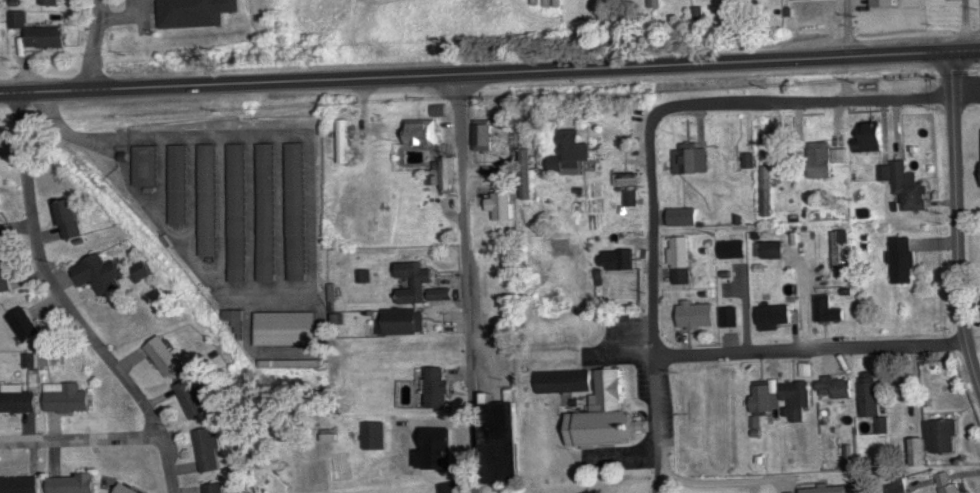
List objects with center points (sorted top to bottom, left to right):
building: (52, 2)
building: (884, 3)
building: (198, 12)
road: (844, 28)
building: (0, 31)
road: (87, 45)
road: (489, 71)
road: (821, 96)
building: (423, 132)
building: (873, 135)
building: (484, 137)
building: (344, 141)
building: (574, 149)
building: (691, 159)
building: (824, 160)
building: (145, 165)
building: (446, 173)
building: (526, 174)
building: (178, 184)
building: (906, 185)
building: (630, 190)
building: (767, 194)
building: (208, 200)
building: (501, 206)
building: (297, 211)
building: (268, 212)
building: (238, 213)
building: (684, 216)
building: (69, 219)
road: (650, 227)
road: (958, 229)
building: (838, 249)
building: (770, 250)
building: (722, 259)
building: (619, 260)
building: (682, 260)
building: (903, 260)
building: (5, 270)
building: (99, 274)
building: (414, 282)
road: (466, 282)
building: (440, 294)
road: (69, 303)
building: (777, 309)
building: (829, 309)
building: (698, 315)
building: (403, 322)
building: (27, 324)
building: (288, 328)
road: (808, 346)
building: (165, 356)
building: (38, 360)
building: (283, 363)
building: (566, 381)
building: (835, 387)
building: (439, 388)
building: (68, 397)
building: (798, 398)
building: (192, 399)
building: (18, 400)
building: (872, 401)
building: (604, 415)
road: (657, 423)
road: (81, 438)
building: (936, 441)
building: (498, 443)
building: (208, 449)
building: (73, 483)
building: (21, 484)
building: (948, 484)
building: (897, 486)
building: (215, 487)
building: (129, 488)
building: (825, 490)
building: (970, 492)

